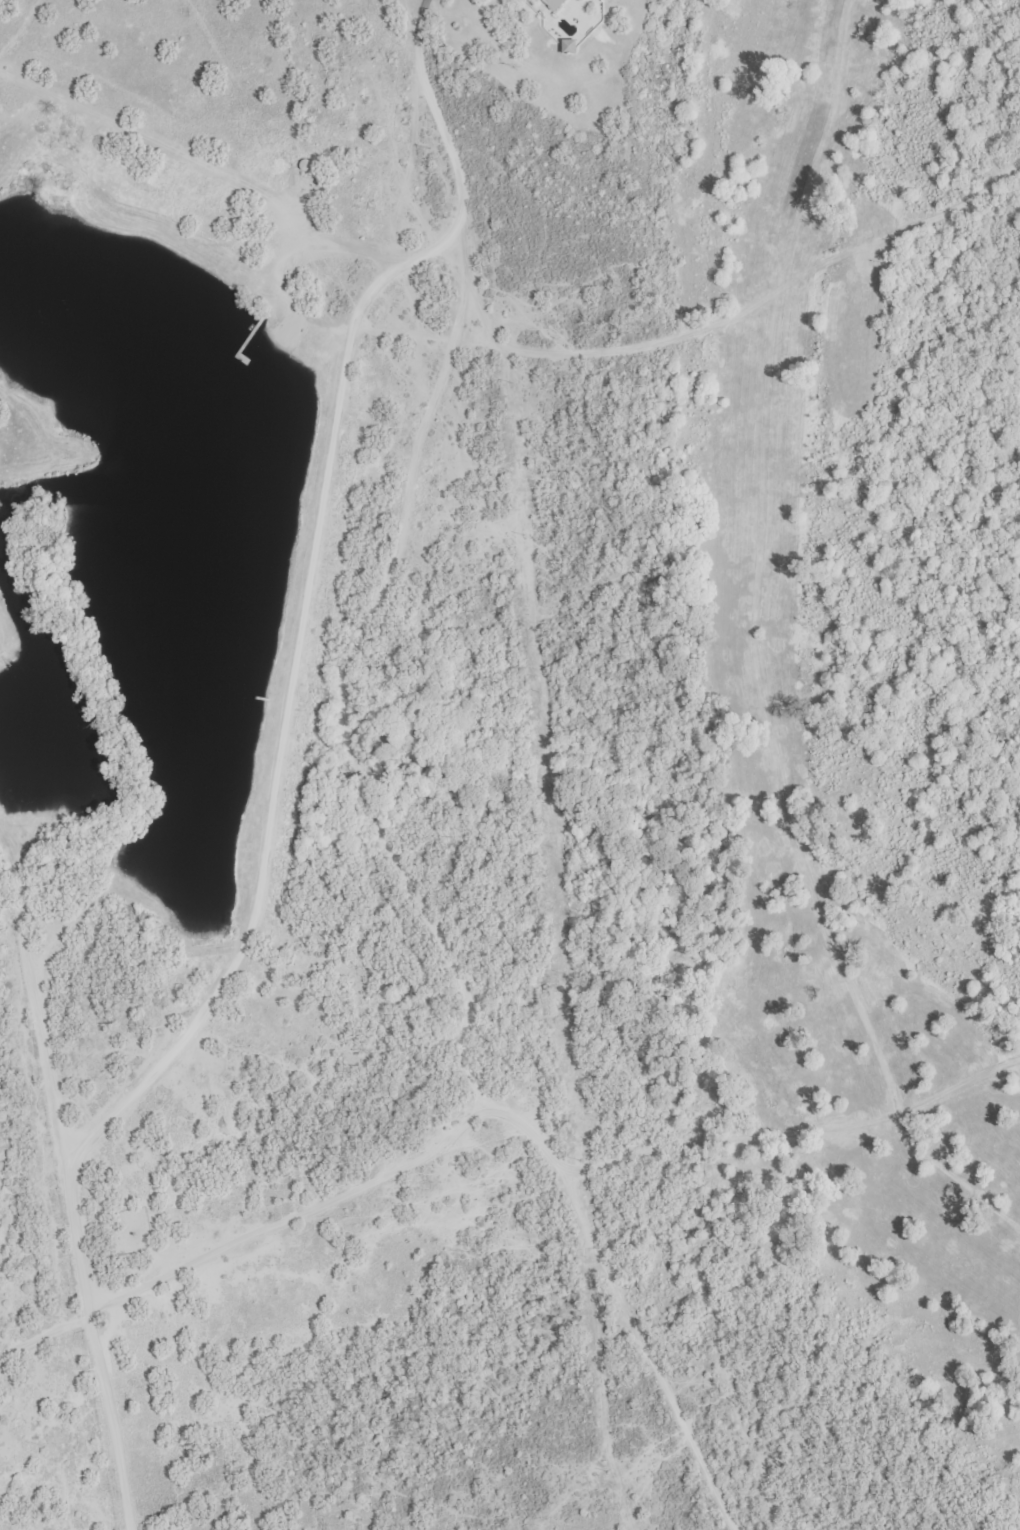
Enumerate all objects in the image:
building: (555, 4)
road: (750, 589)
road: (285, 770)

